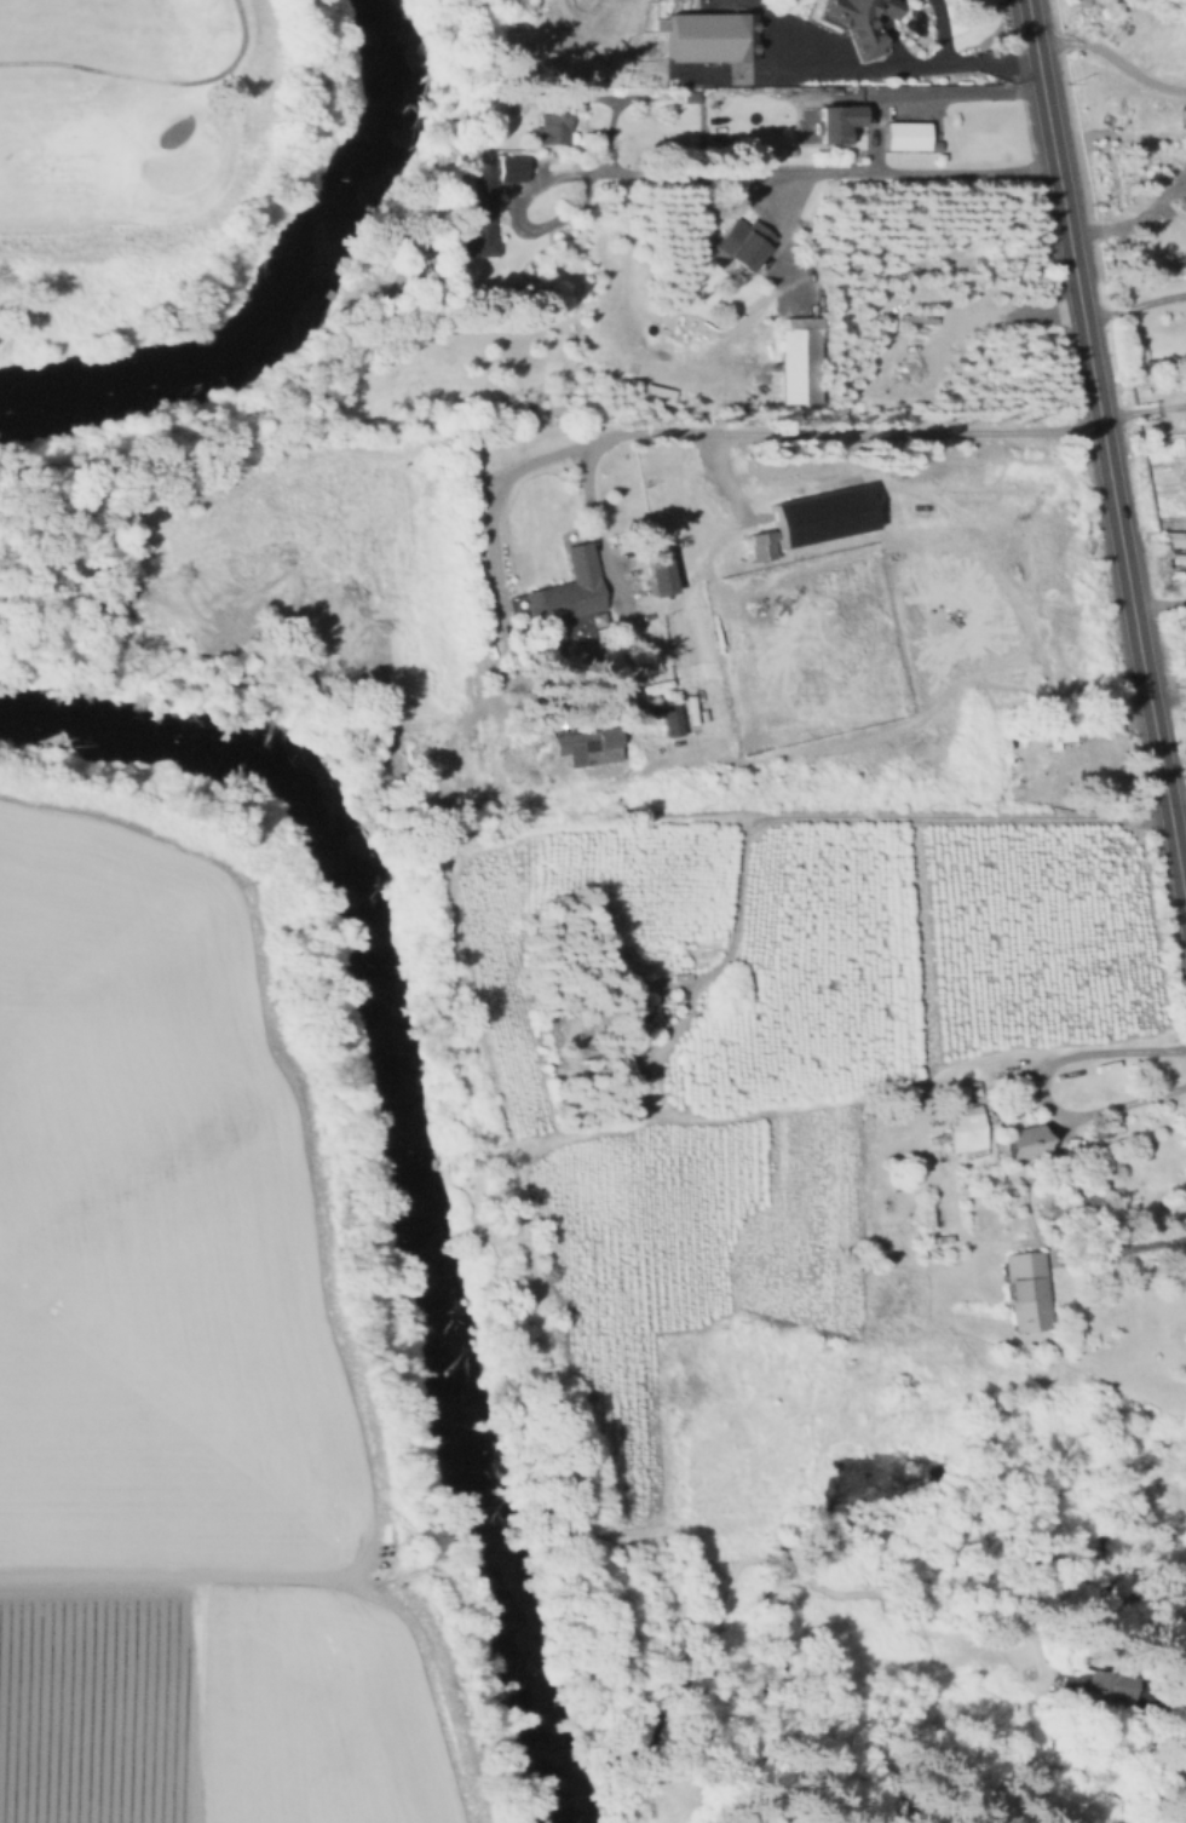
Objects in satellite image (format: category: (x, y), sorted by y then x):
road: (891, 10)
building: (859, 22)
road: (939, 30)
building: (712, 36)
road: (890, 41)
road: (1111, 61)
road: (900, 62)
road: (150, 76)
road: (921, 92)
building: (564, 96)
road: (611, 121)
building: (837, 121)
building: (552, 130)
building: (909, 136)
park: (123, 143)
building: (509, 167)
park: (175, 168)
road: (719, 172)
road: (787, 195)
building: (484, 205)
building: (1185, 206)
road: (1130, 218)
building: (744, 243)
river: (295, 282)
road: (1134, 304)
building: (802, 332)
building: (524, 406)
road: (1142, 408)
road: (686, 432)
road: (1106, 452)
building: (821, 514)
road: (594, 524)
building: (756, 545)
building: (662, 573)
building: (566, 593)
road: (1161, 603)
road: (1167, 690)
building: (652, 709)
building: (591, 746)
road: (1176, 801)
crop: (829, 879)
road: (721, 959)
building: (634, 1024)
road: (1043, 1085)
river: (407, 1093)
building: (966, 1131)
building: (1018, 1138)
building: (1077, 1207)
road: (1134, 1246)
building: (1027, 1290)
crop: (174, 1386)
road: (169, 1586)
building: (1101, 1689)
river: (588, 1784)

